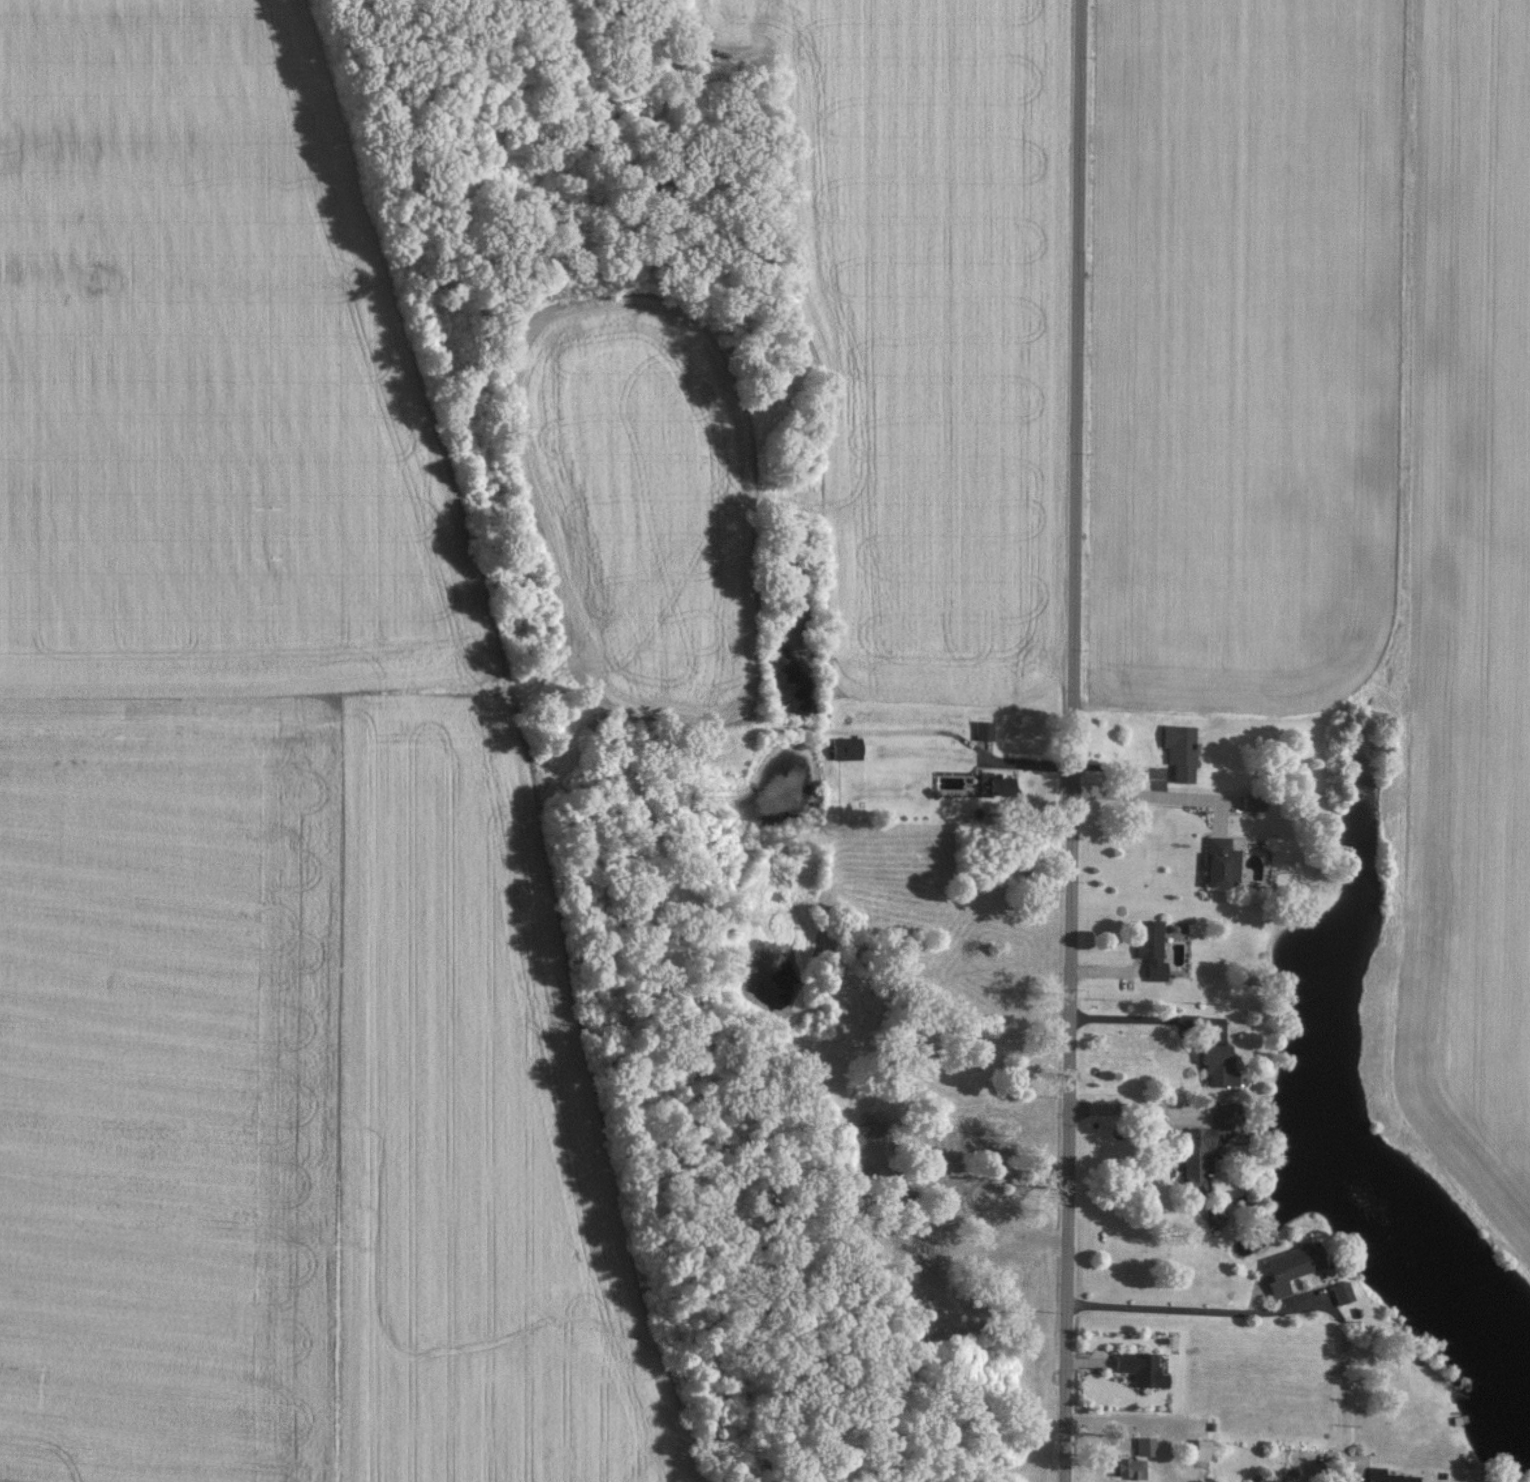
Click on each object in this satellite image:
crop: (1466, 608)
building: (983, 730)
road: (1076, 741)
building: (846, 747)
building: (1180, 751)
building: (993, 786)
road: (1156, 793)
building: (1253, 803)
building: (1221, 862)
building: (1151, 948)
road: (1149, 1018)
building: (1218, 1064)
crop: (165, 1086)
road: (1141, 1108)
building: (1206, 1143)
building: (1214, 1217)
building: (1293, 1264)
building: (1341, 1291)
road: (1290, 1308)
building: (1141, 1368)
building: (1201, 1449)
building: (1127, 1467)
building: (1388, 1476)
building: (1262, 1479)

